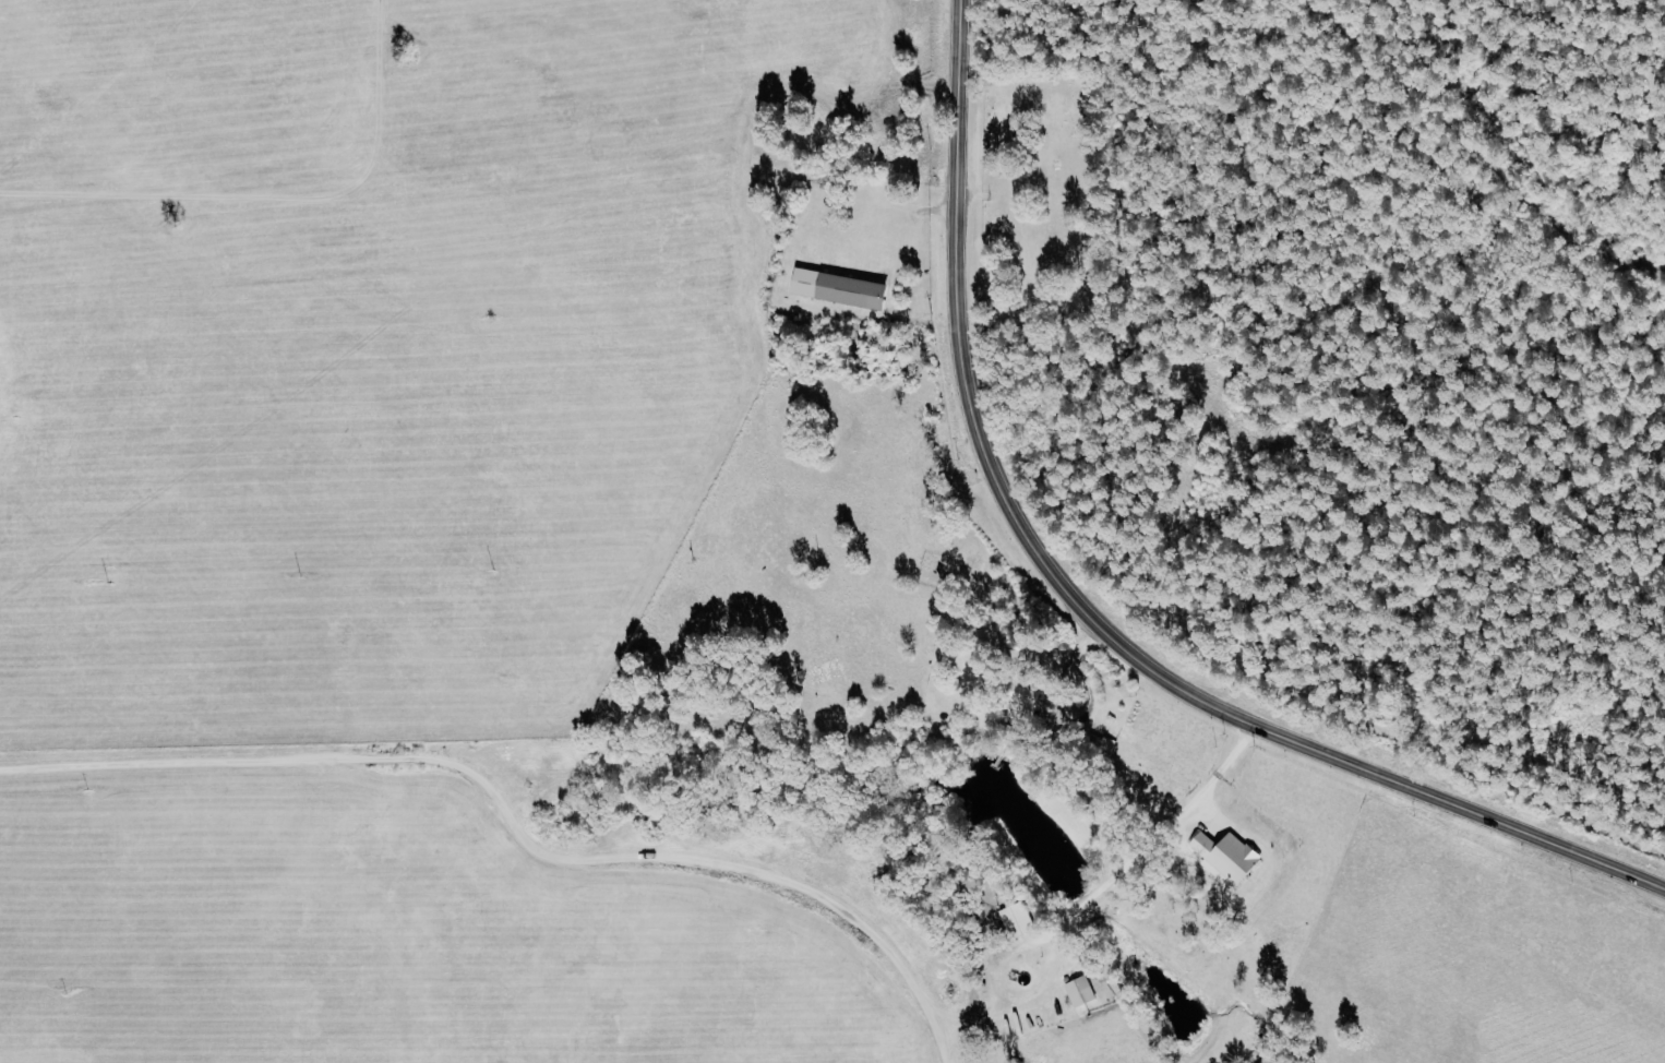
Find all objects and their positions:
park: (1044, 195)
building: (842, 288)
road: (1083, 613)
building: (1027, 700)
road: (1217, 764)
building: (1230, 857)
building: (1082, 990)

